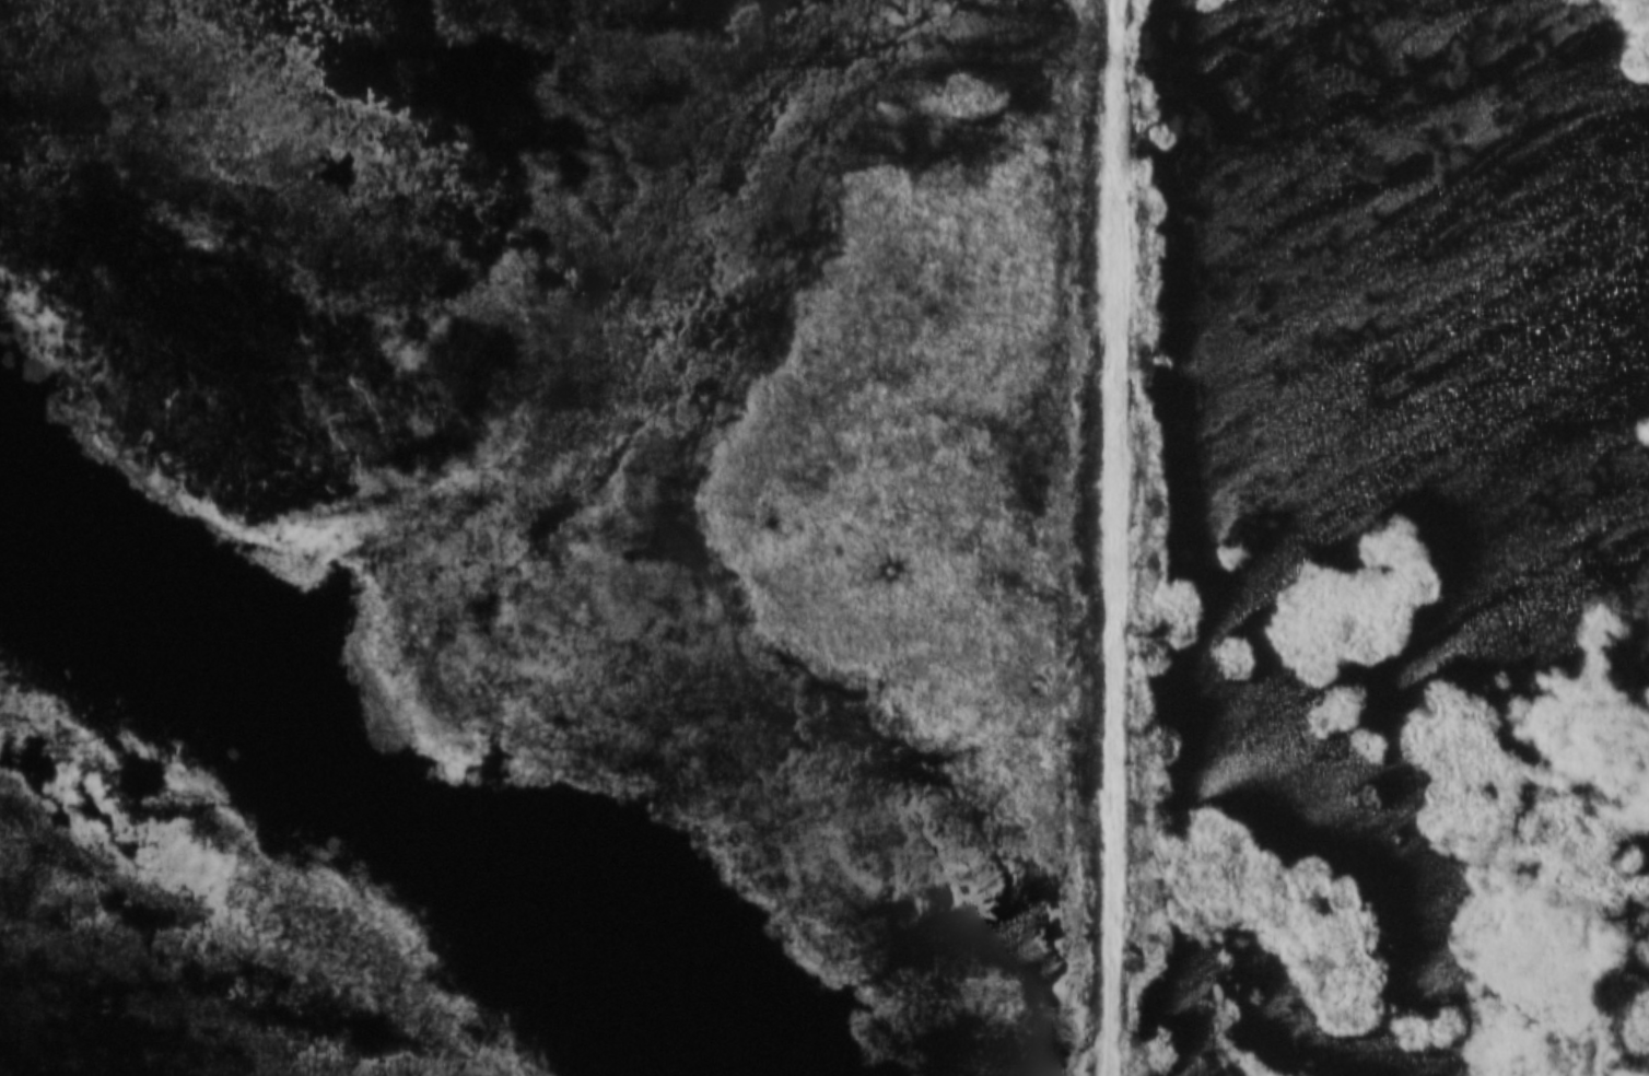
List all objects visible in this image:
road: (1116, 538)

